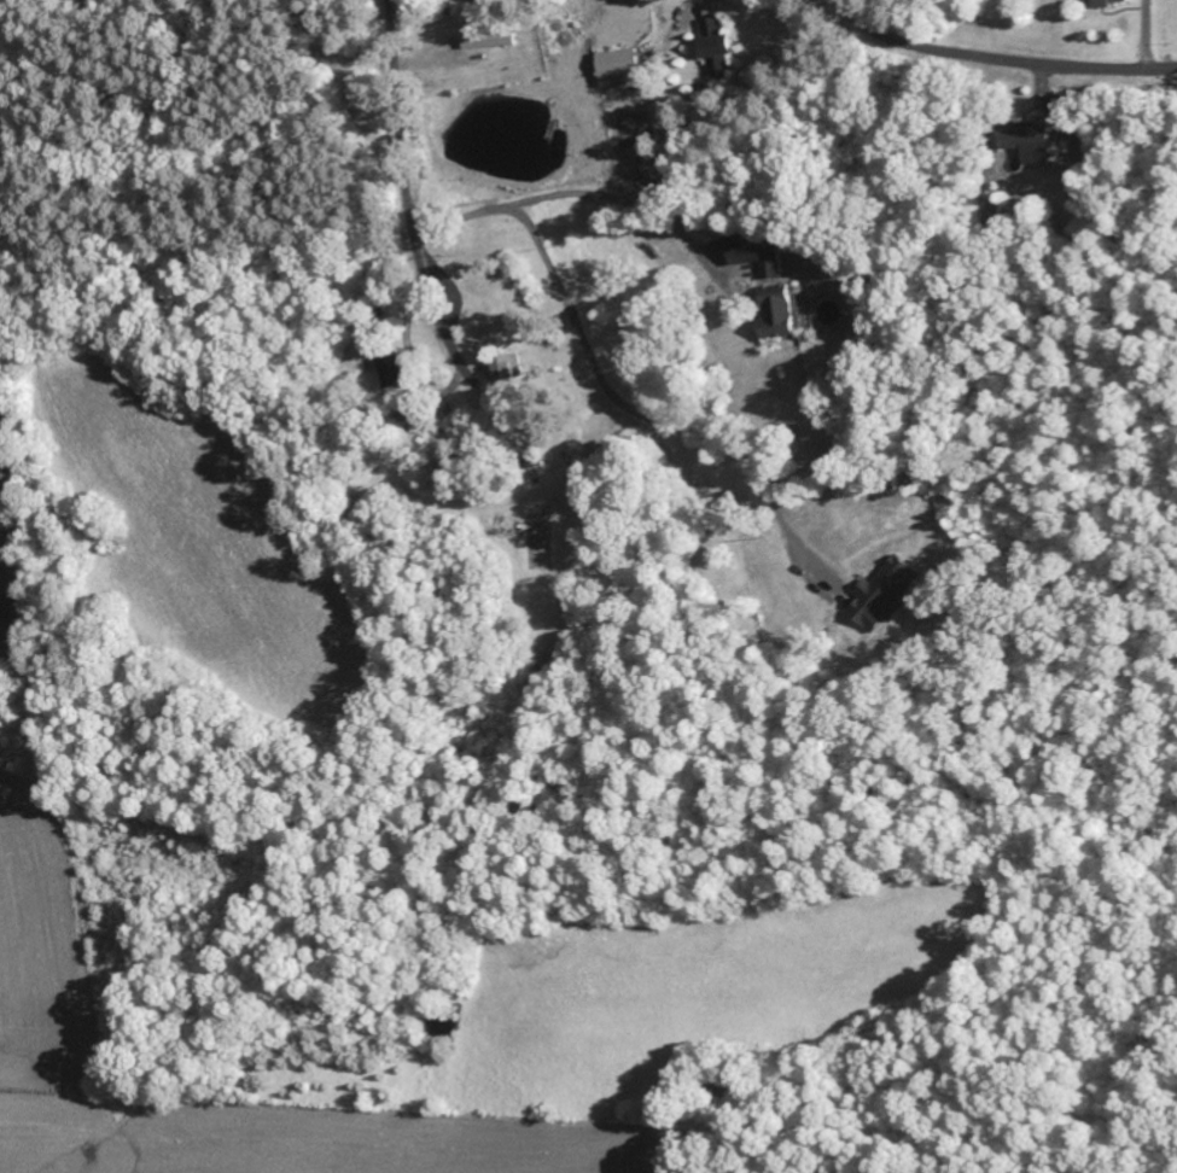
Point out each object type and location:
building: (1111, 2)
building: (490, 41)
building: (718, 47)
road: (1003, 57)
building: (622, 68)
building: (1074, 128)
building: (1036, 142)
building: (652, 168)
road: (415, 187)
building: (757, 252)
road: (752, 273)
building: (779, 314)
building: (390, 368)
building: (506, 369)
building: (887, 595)

